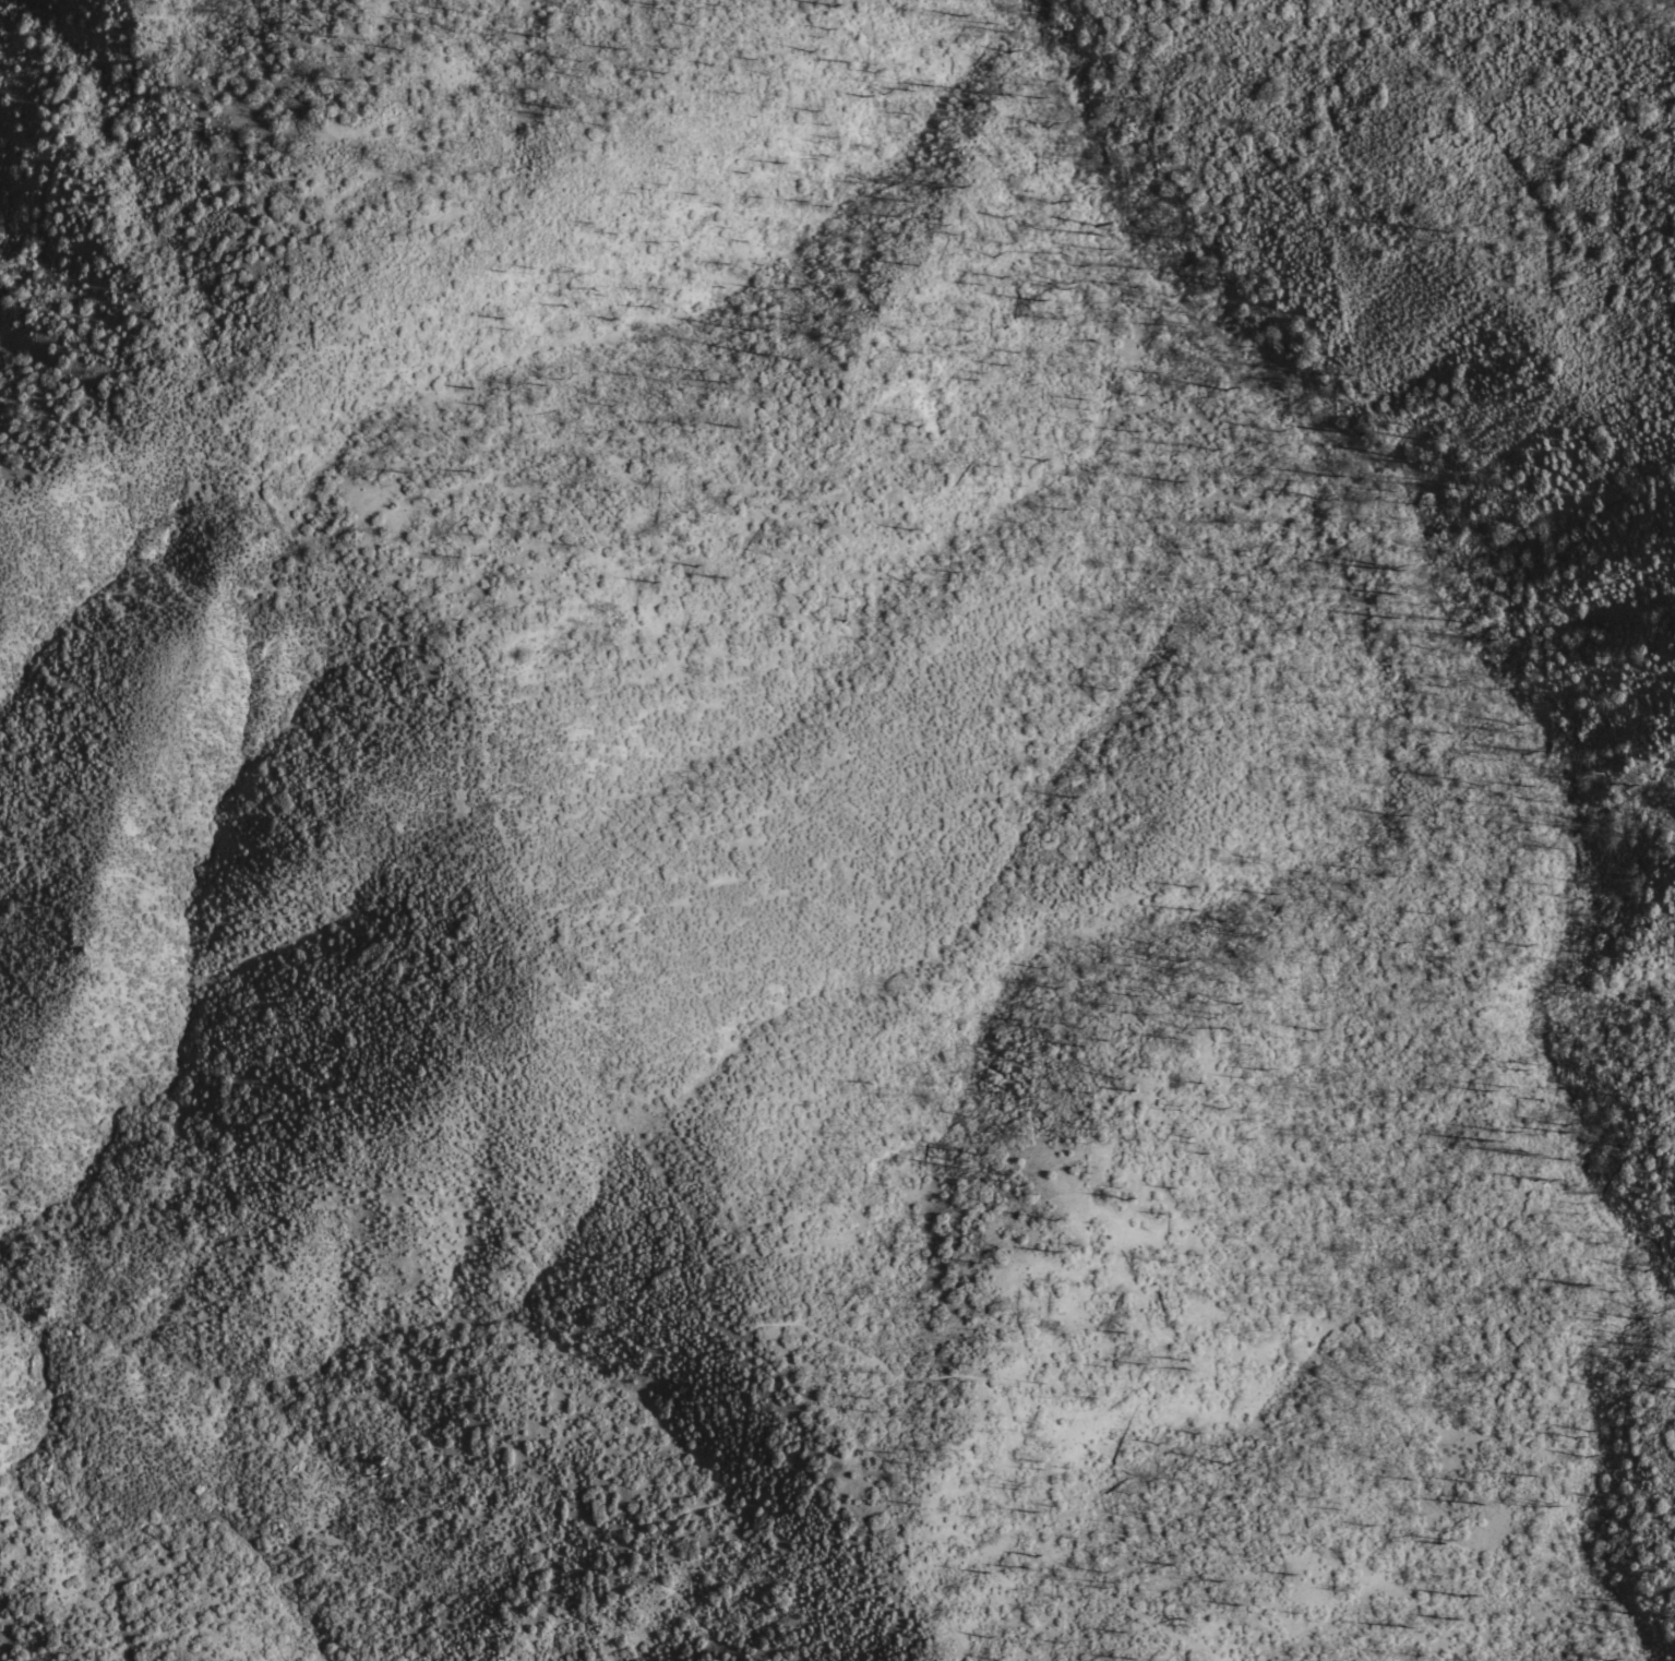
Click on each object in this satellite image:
road: (858, 1353)

